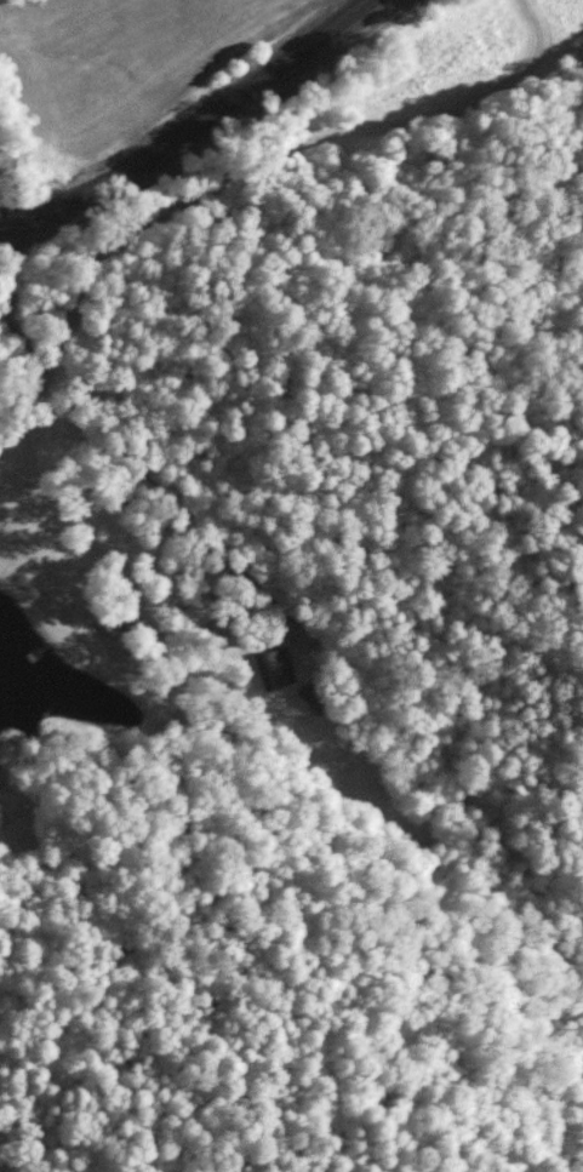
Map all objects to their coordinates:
railway: (198, 132)
road: (138, 234)
building: (198, 613)
building: (116, 619)
building: (274, 669)
building: (315, 699)
road: (248, 732)

